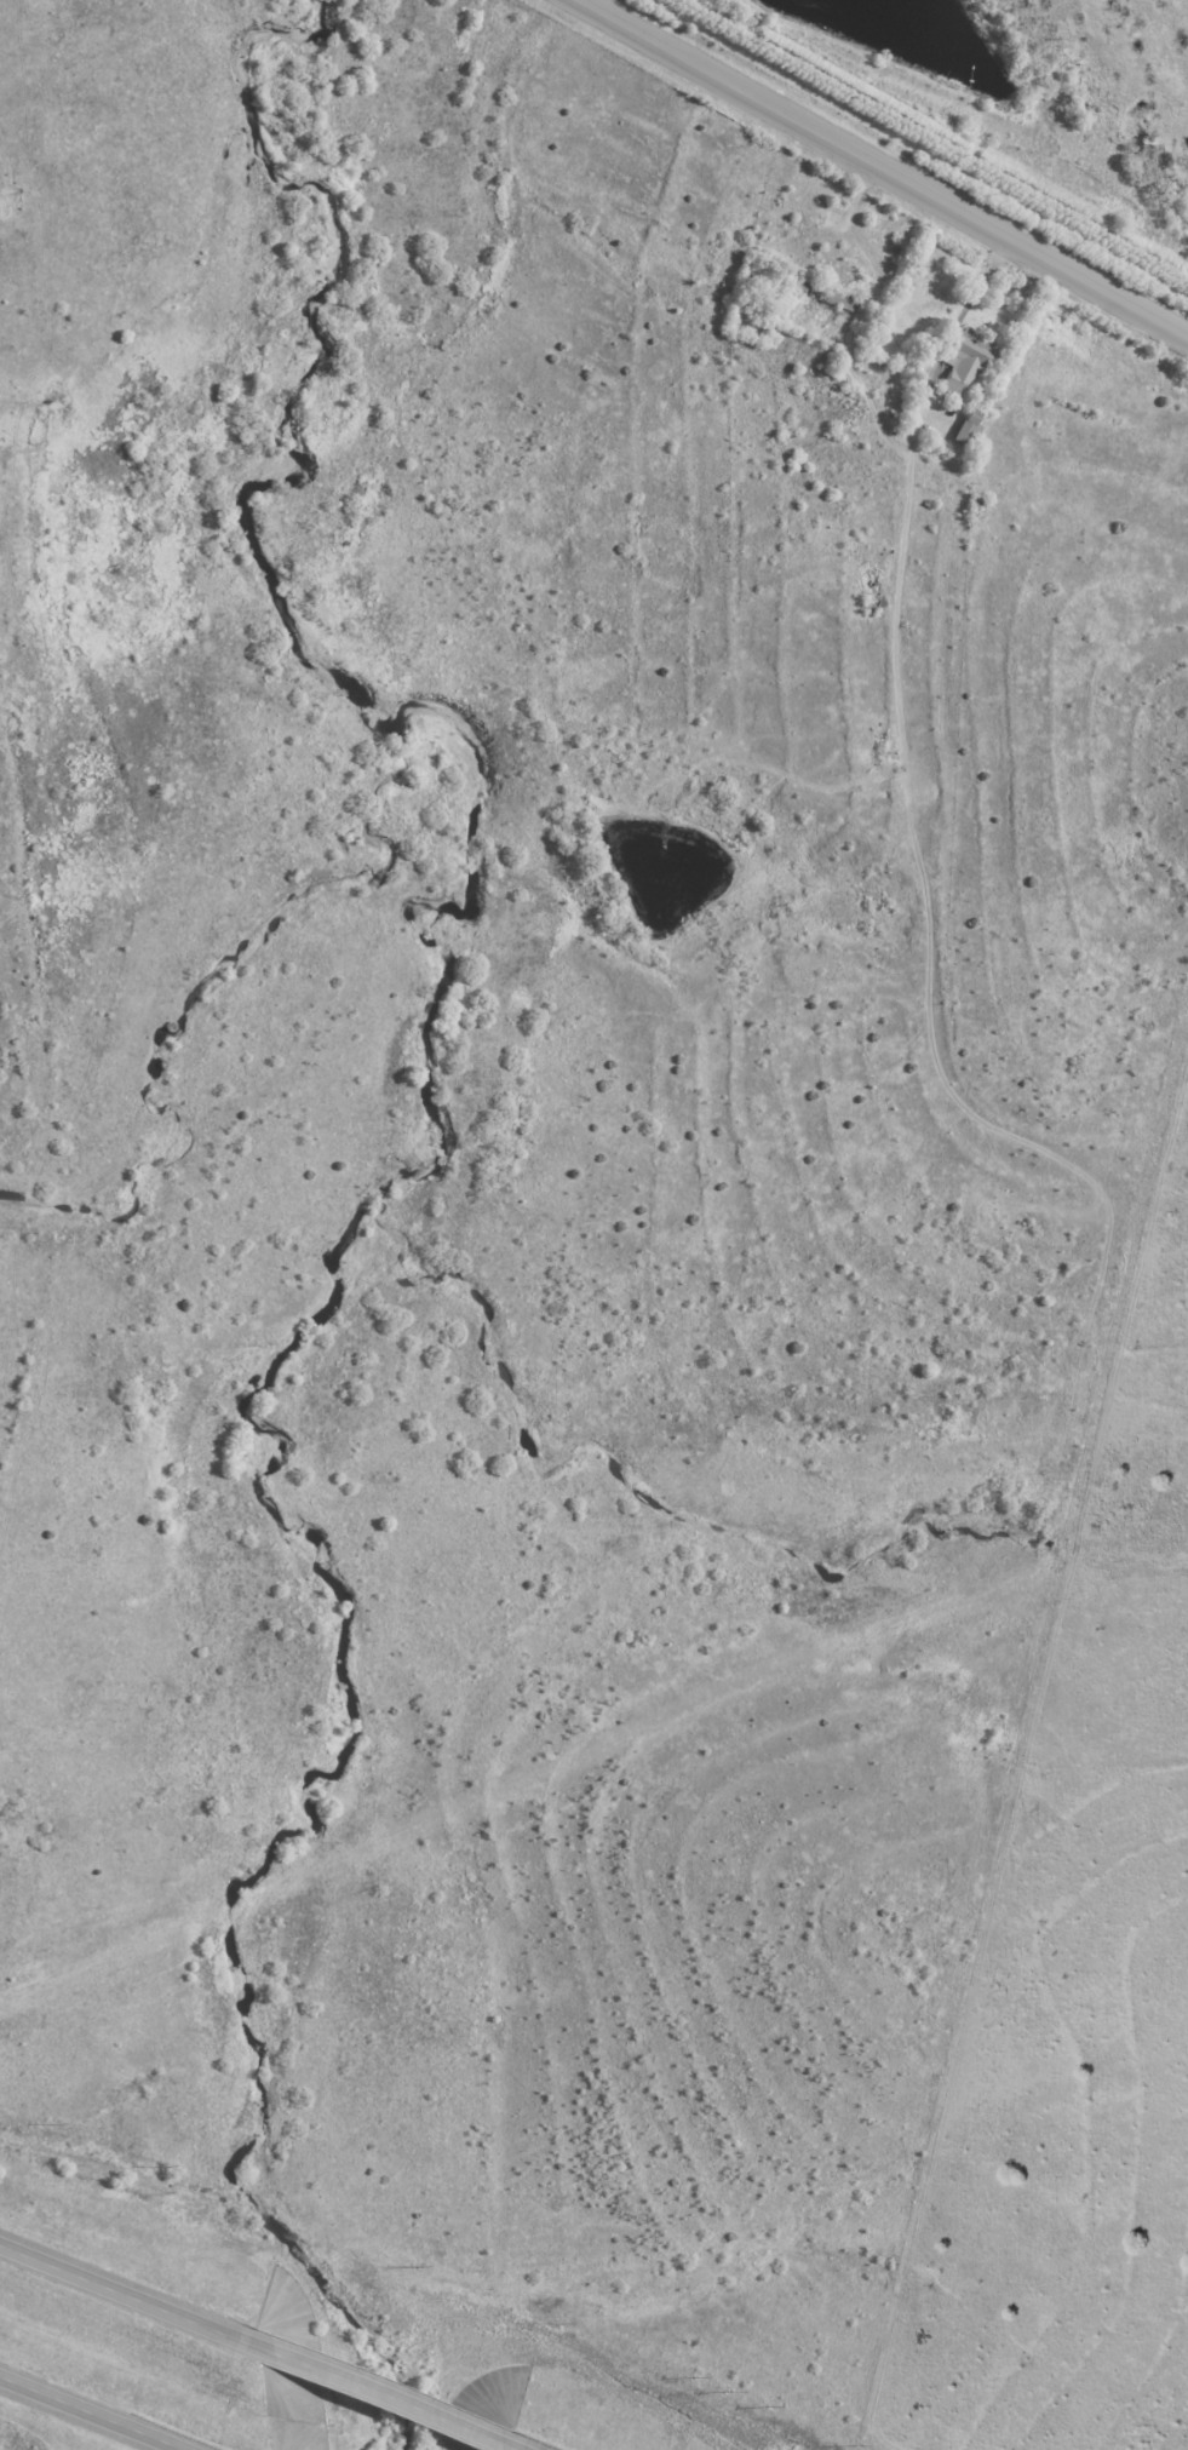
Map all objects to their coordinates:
road: (882, 170)
building: (813, 293)
building: (843, 302)
road: (958, 328)
building: (968, 365)
building: (969, 431)
building: (978, 503)
road: (130, 2295)
road: (389, 2398)
road: (97, 2411)

